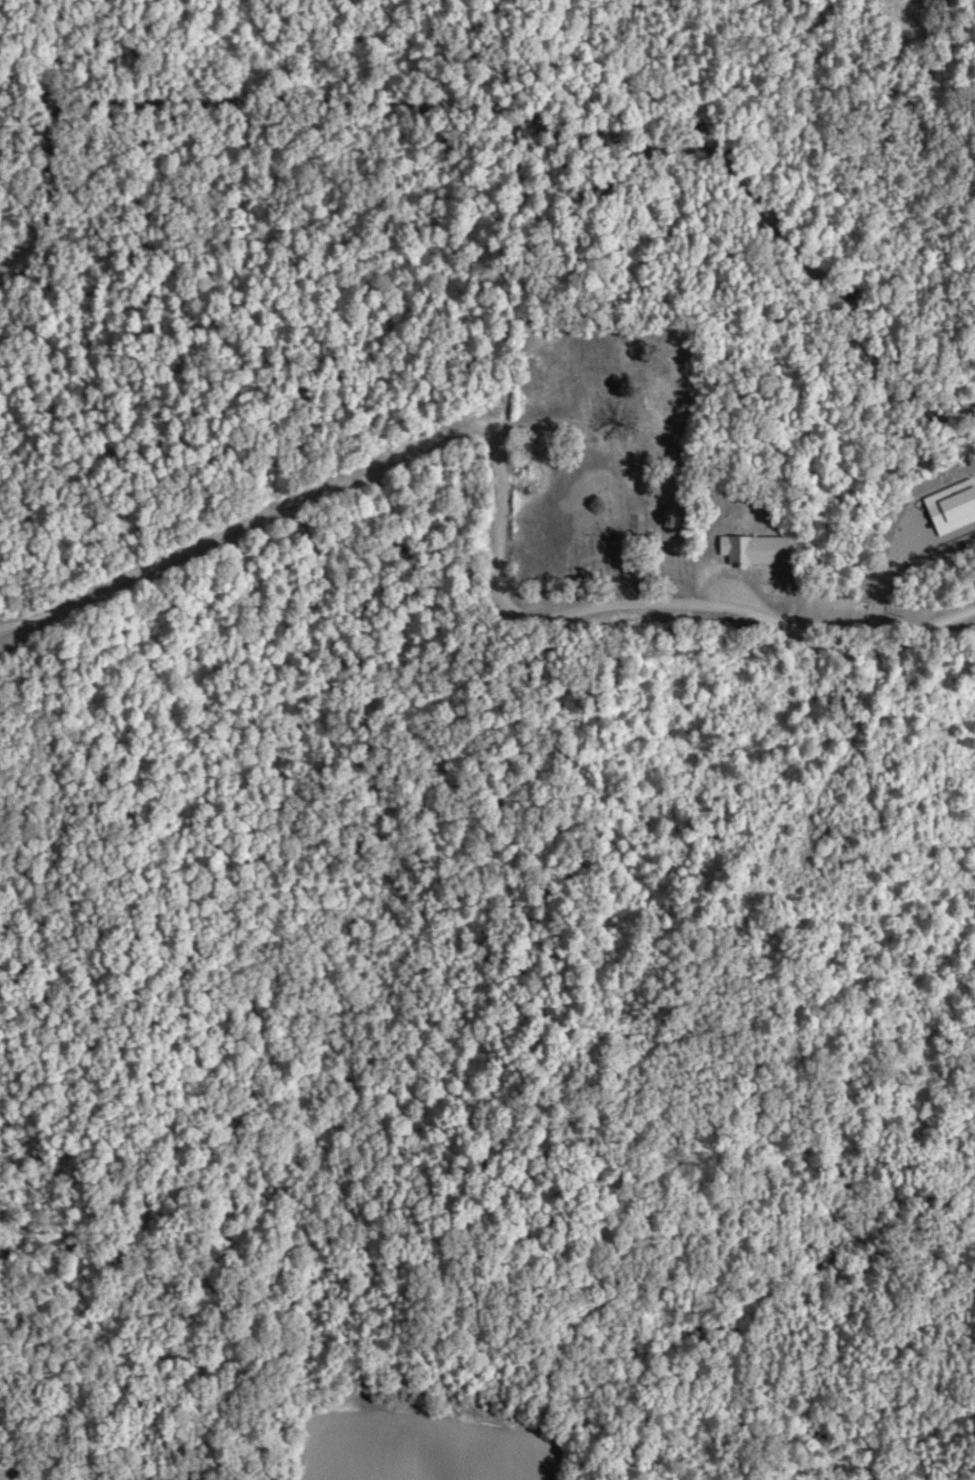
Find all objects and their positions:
road: (564, 421)
park: (602, 456)
road: (508, 493)
building: (752, 552)

